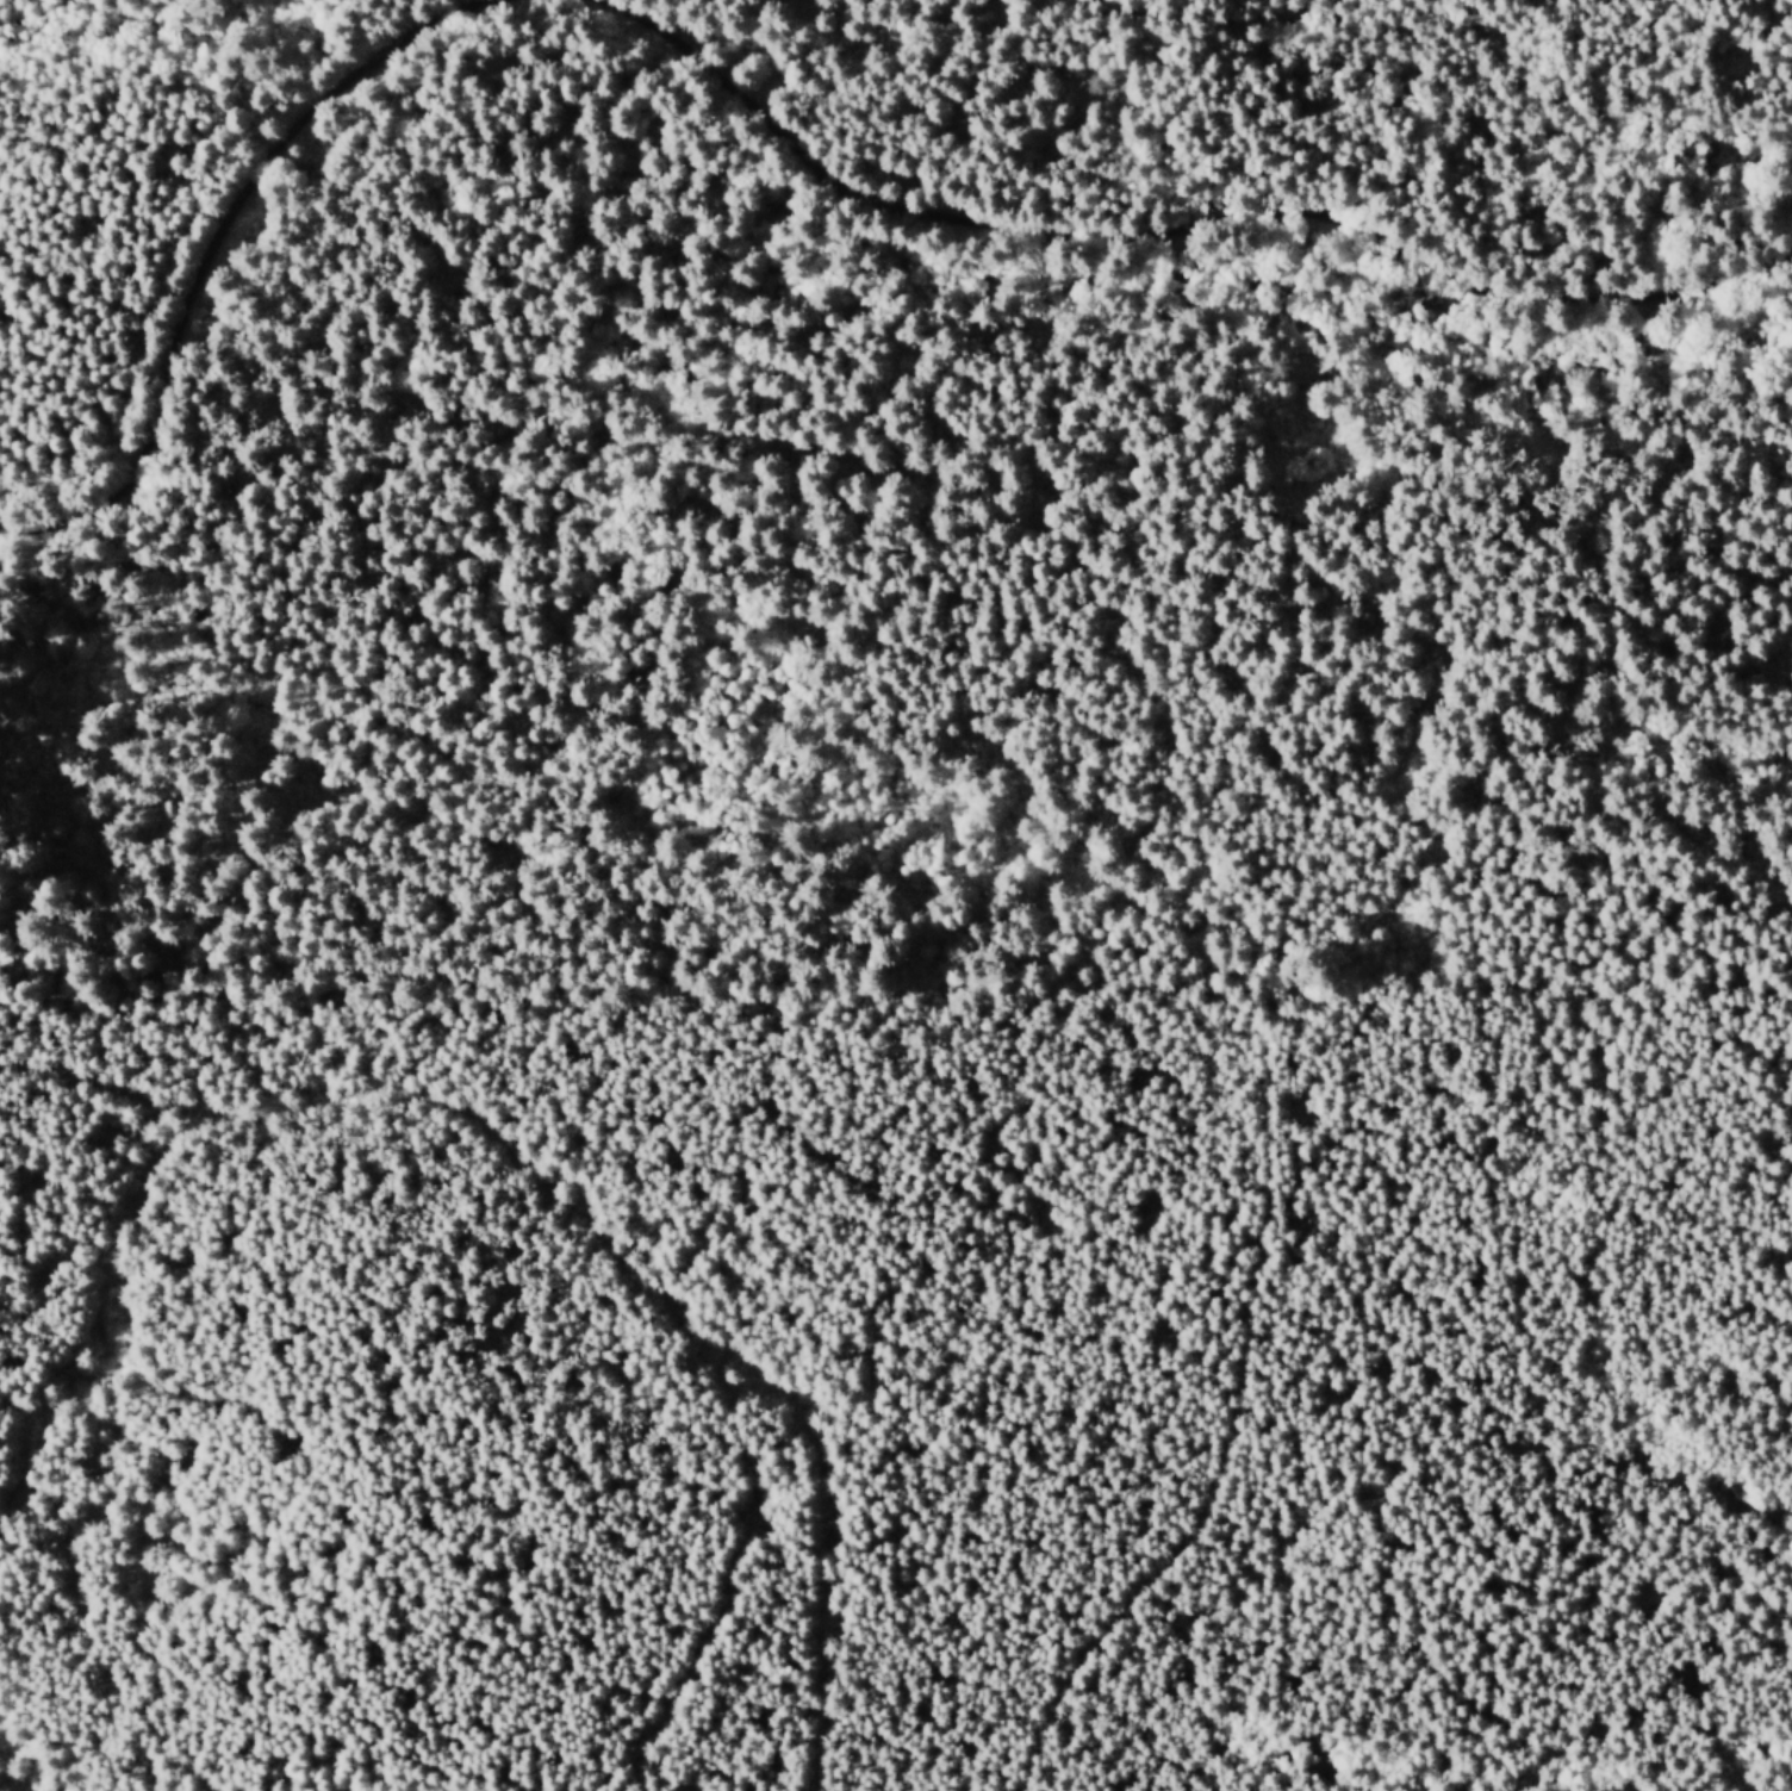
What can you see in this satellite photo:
road: (1114, 162)
road: (110, 178)

